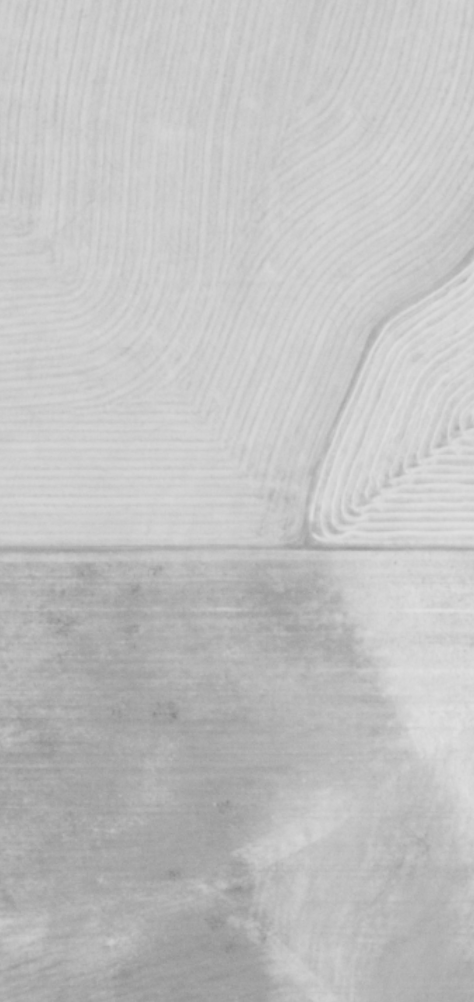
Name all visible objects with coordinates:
crop: (237, 501)

